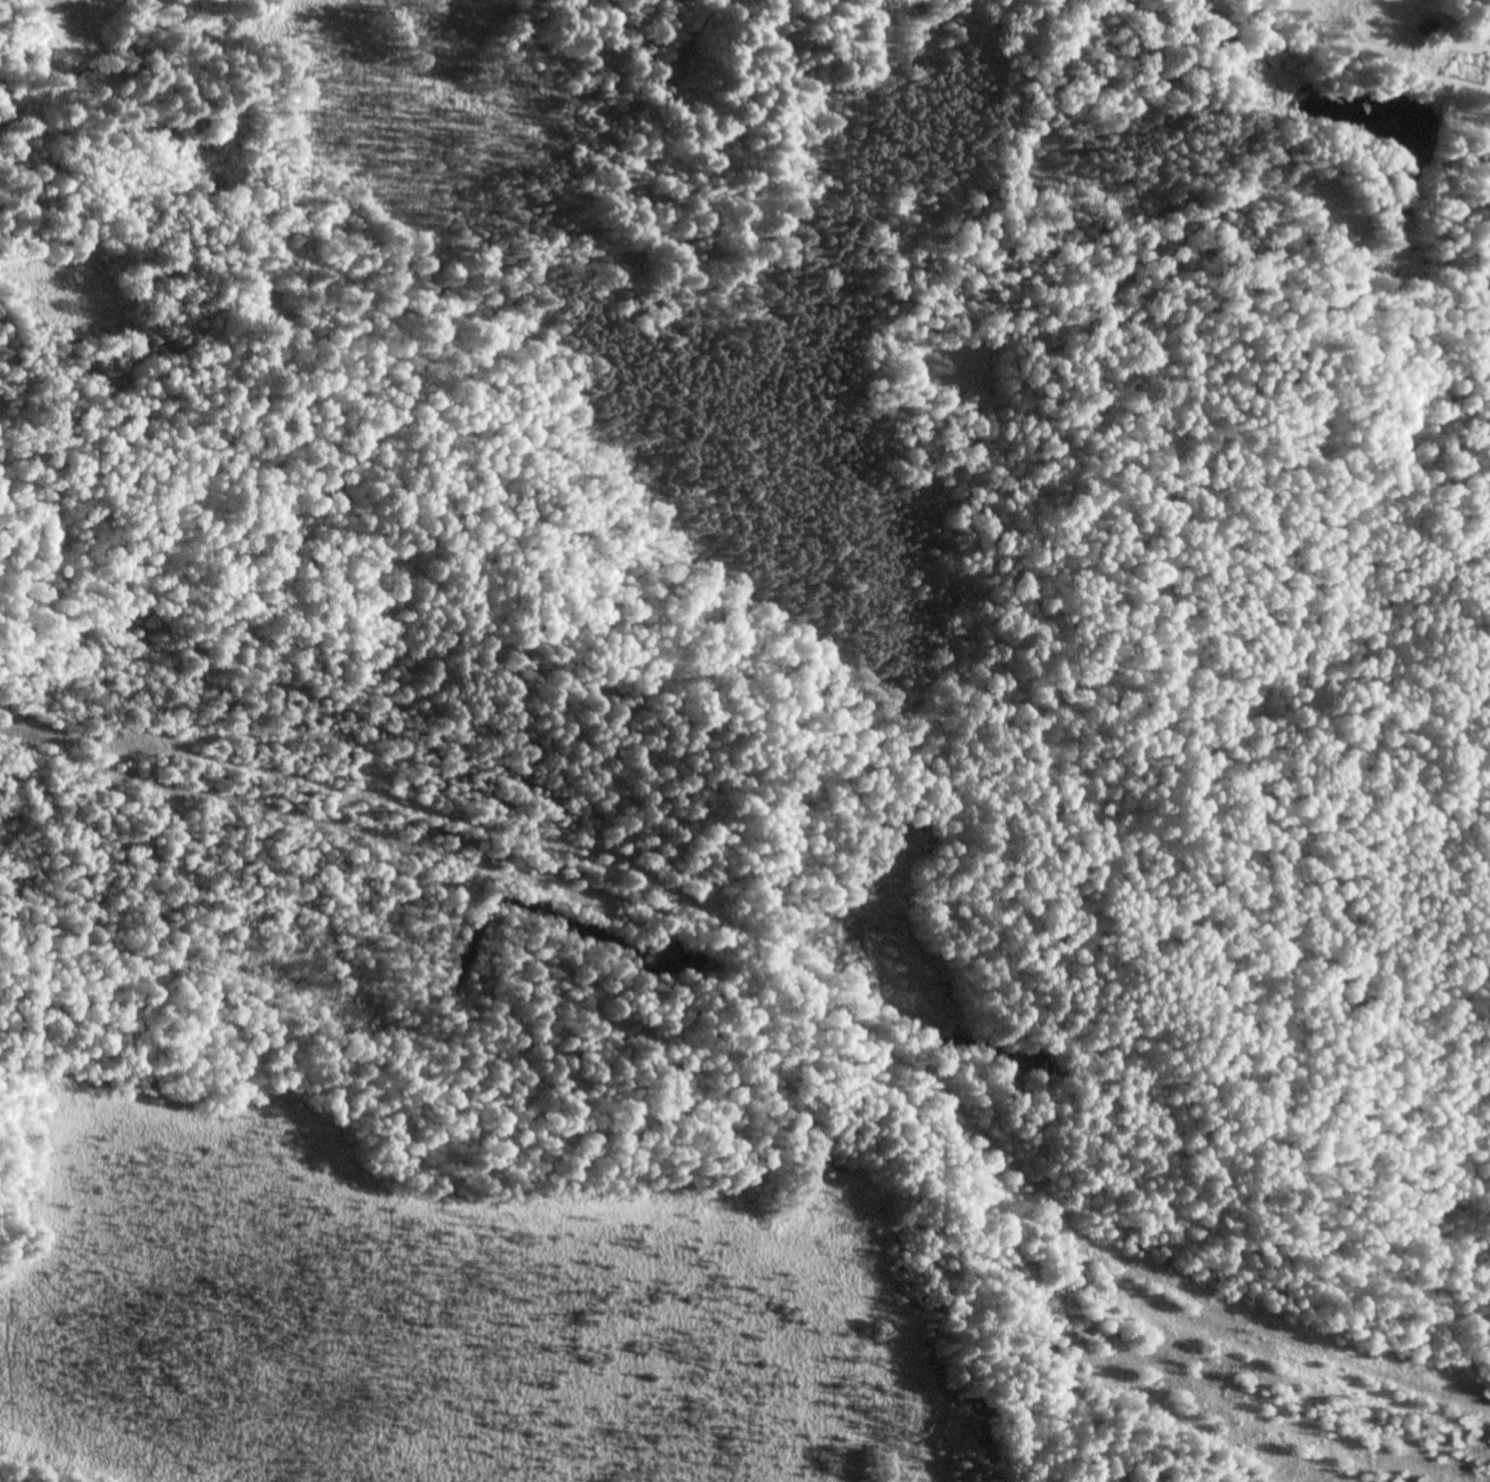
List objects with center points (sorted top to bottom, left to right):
building: (1434, 29)
building: (1486, 178)

